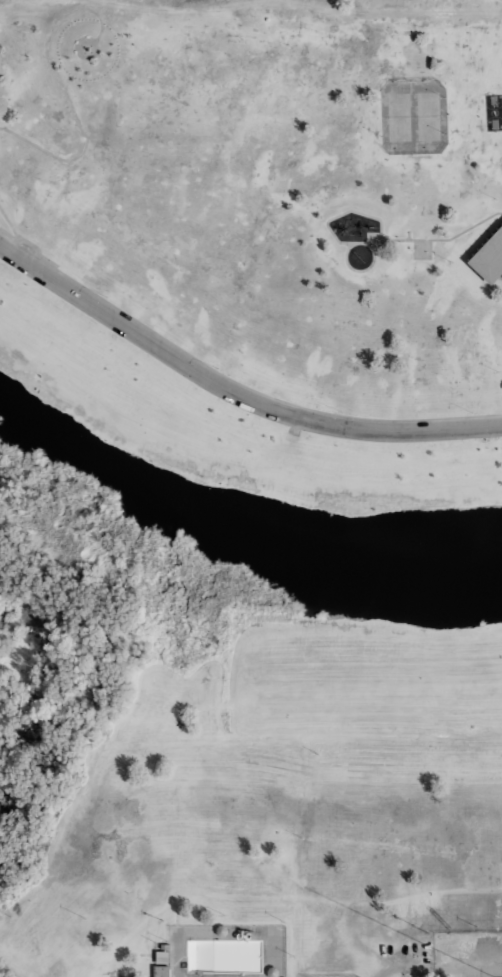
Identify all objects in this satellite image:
road: (79, 44)
road: (63, 93)
park: (429, 116)
park: (400, 117)
park: (414, 117)
road: (13, 230)
park: (421, 249)
building: (488, 256)
road: (232, 393)
park: (238, 461)
river: (233, 532)
road: (393, 901)
road: (403, 967)
building: (161, 970)
parking lot: (129, 976)

